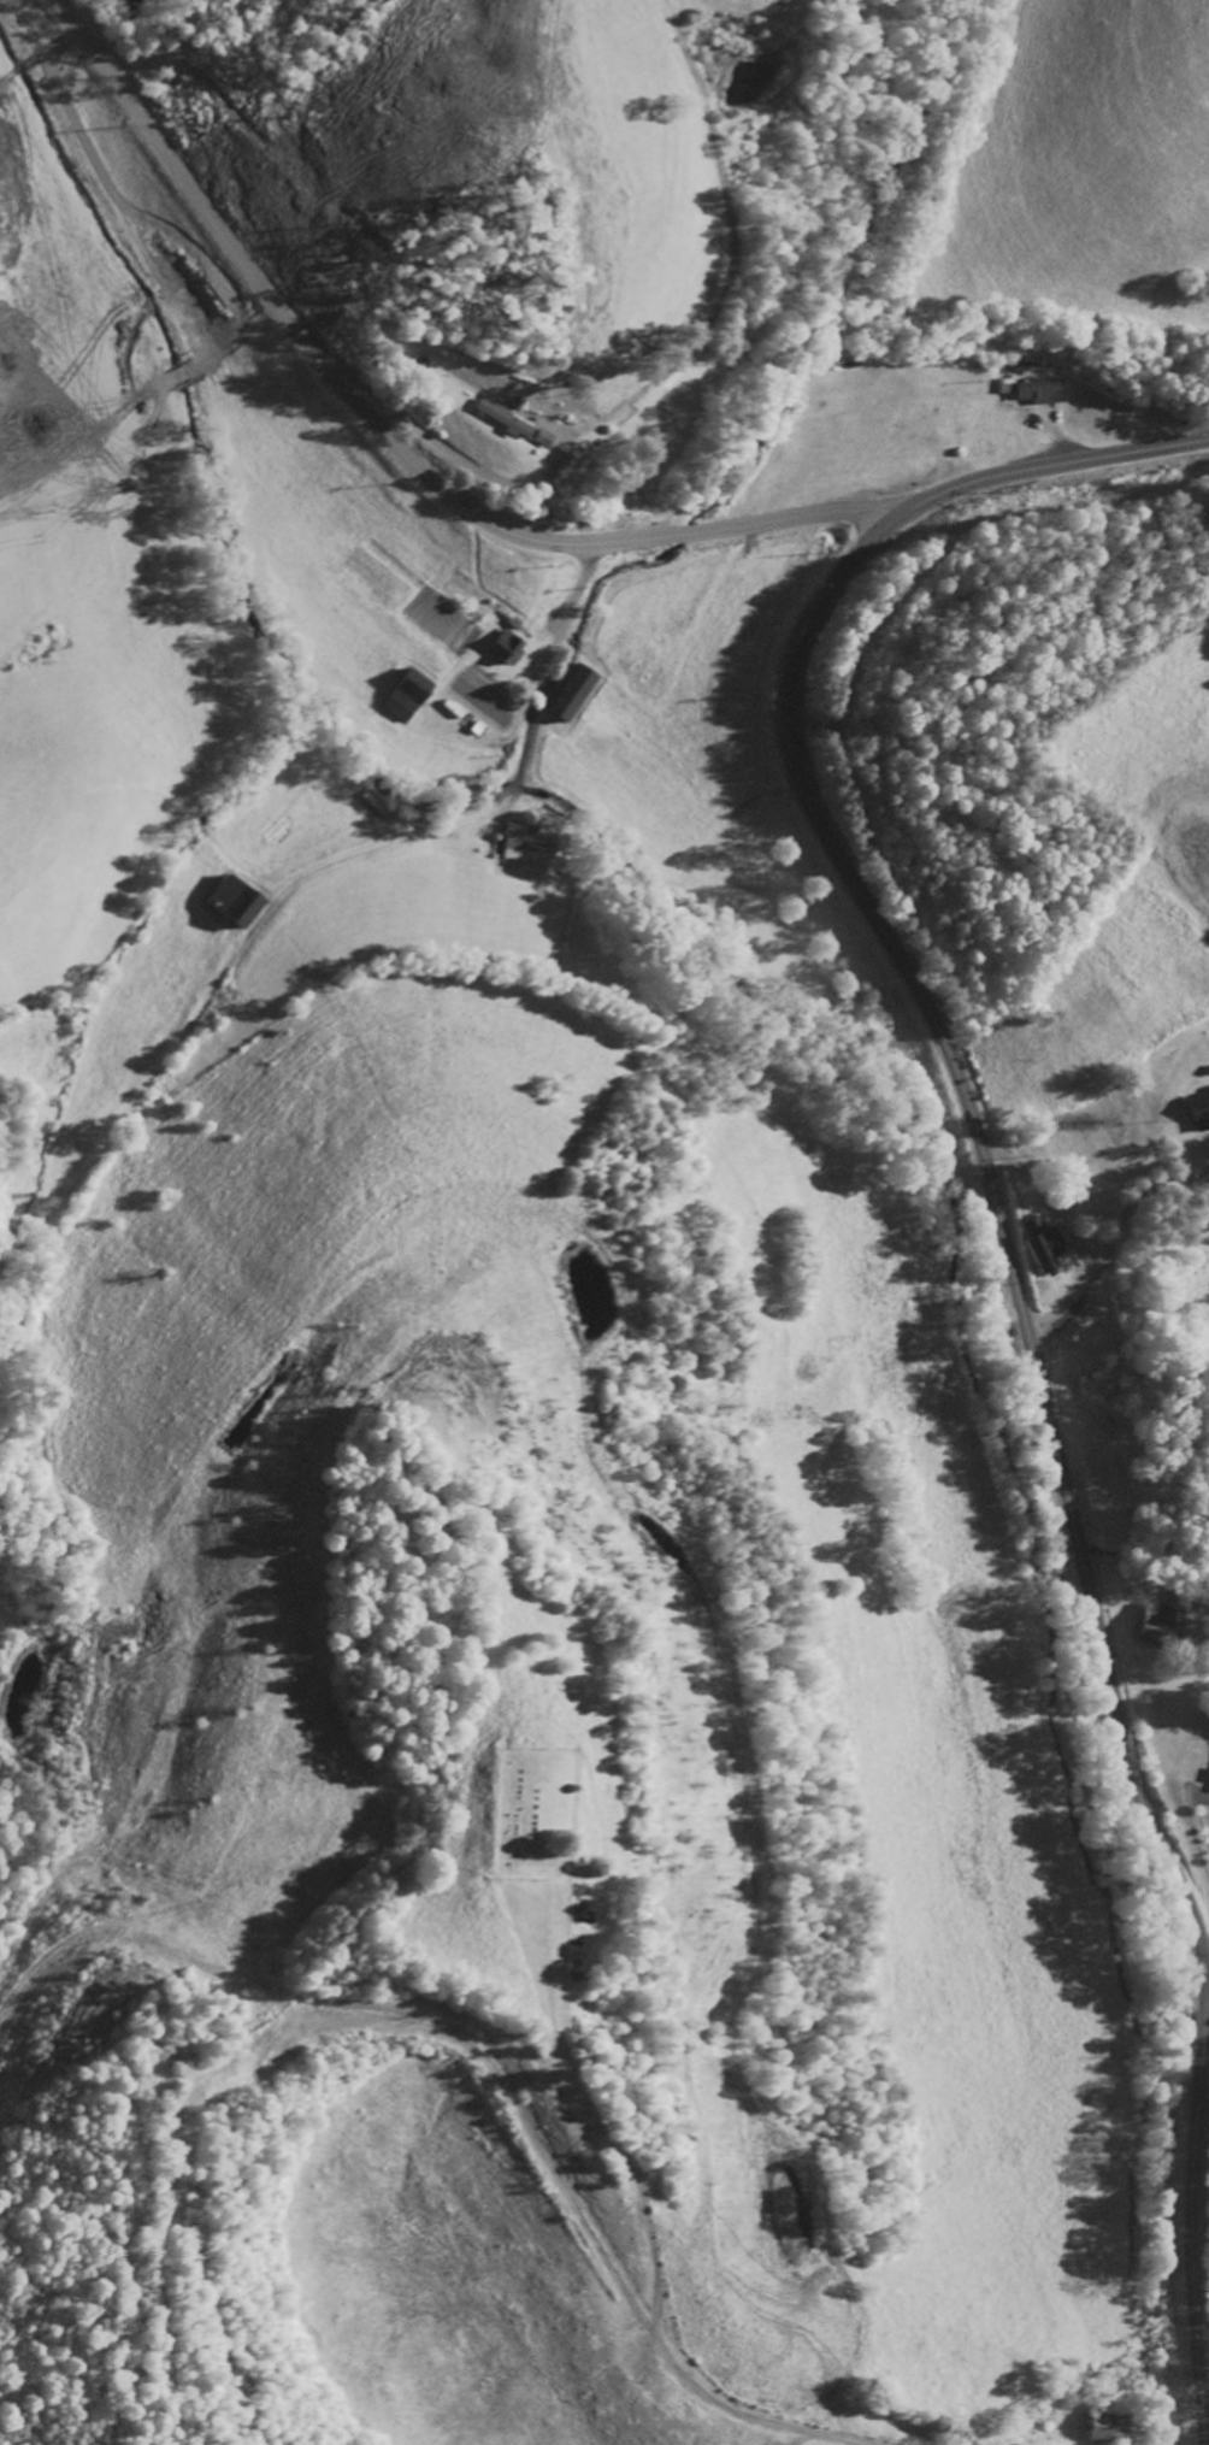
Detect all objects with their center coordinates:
road: (442, 59)
road: (230, 287)
building: (1043, 389)
building: (503, 417)
road: (388, 438)
road: (1052, 463)
road: (40, 493)
building: (507, 646)
building: (572, 691)
building: (529, 841)
building: (232, 901)
building: (1199, 1110)
road: (996, 1202)
building: (1043, 1244)
building: (1157, 1625)
road: (1205, 1960)
road: (1193, 2200)

